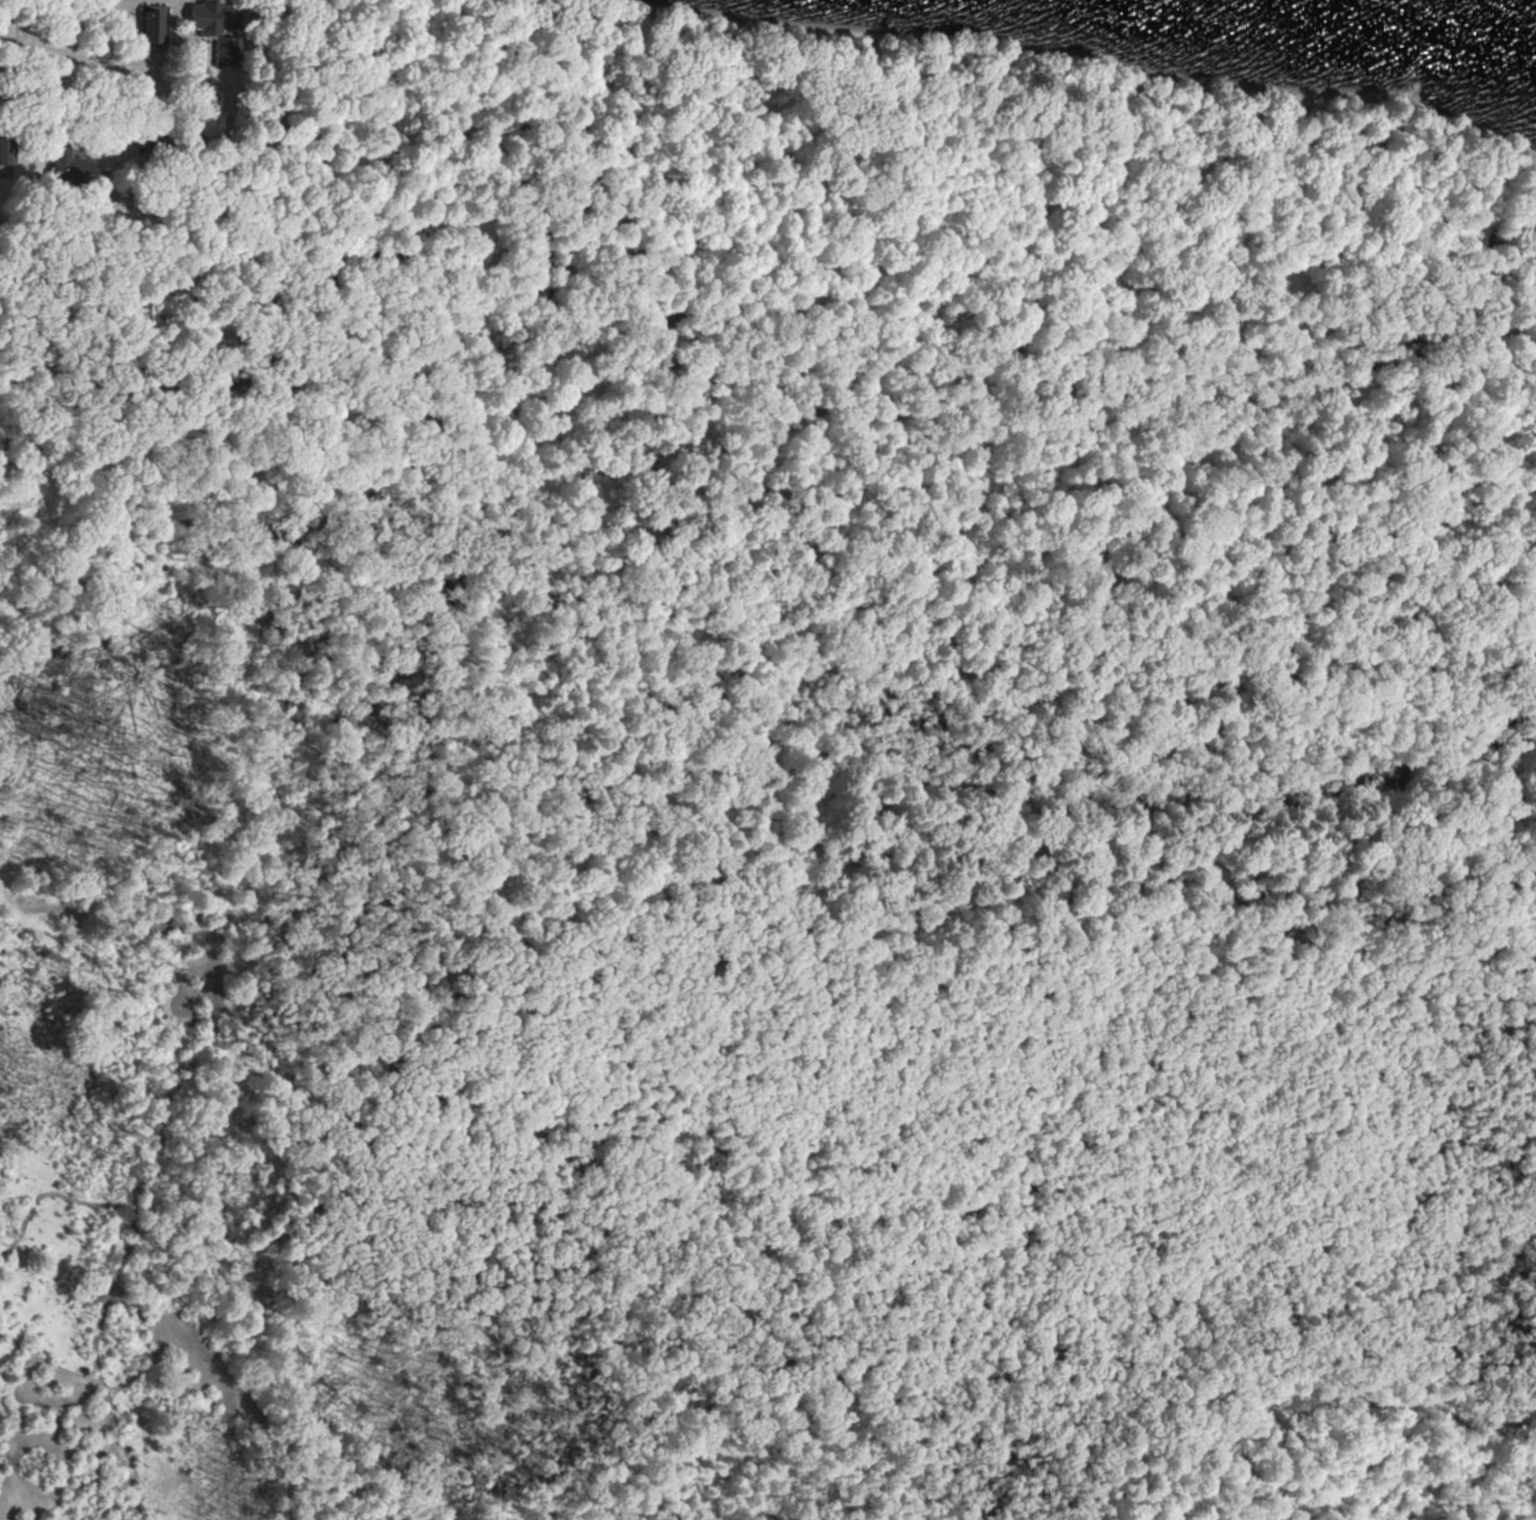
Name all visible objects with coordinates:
building: (213, 24)
building: (155, 25)
road: (86, 60)
building: (7, 153)
building: (70, 166)

